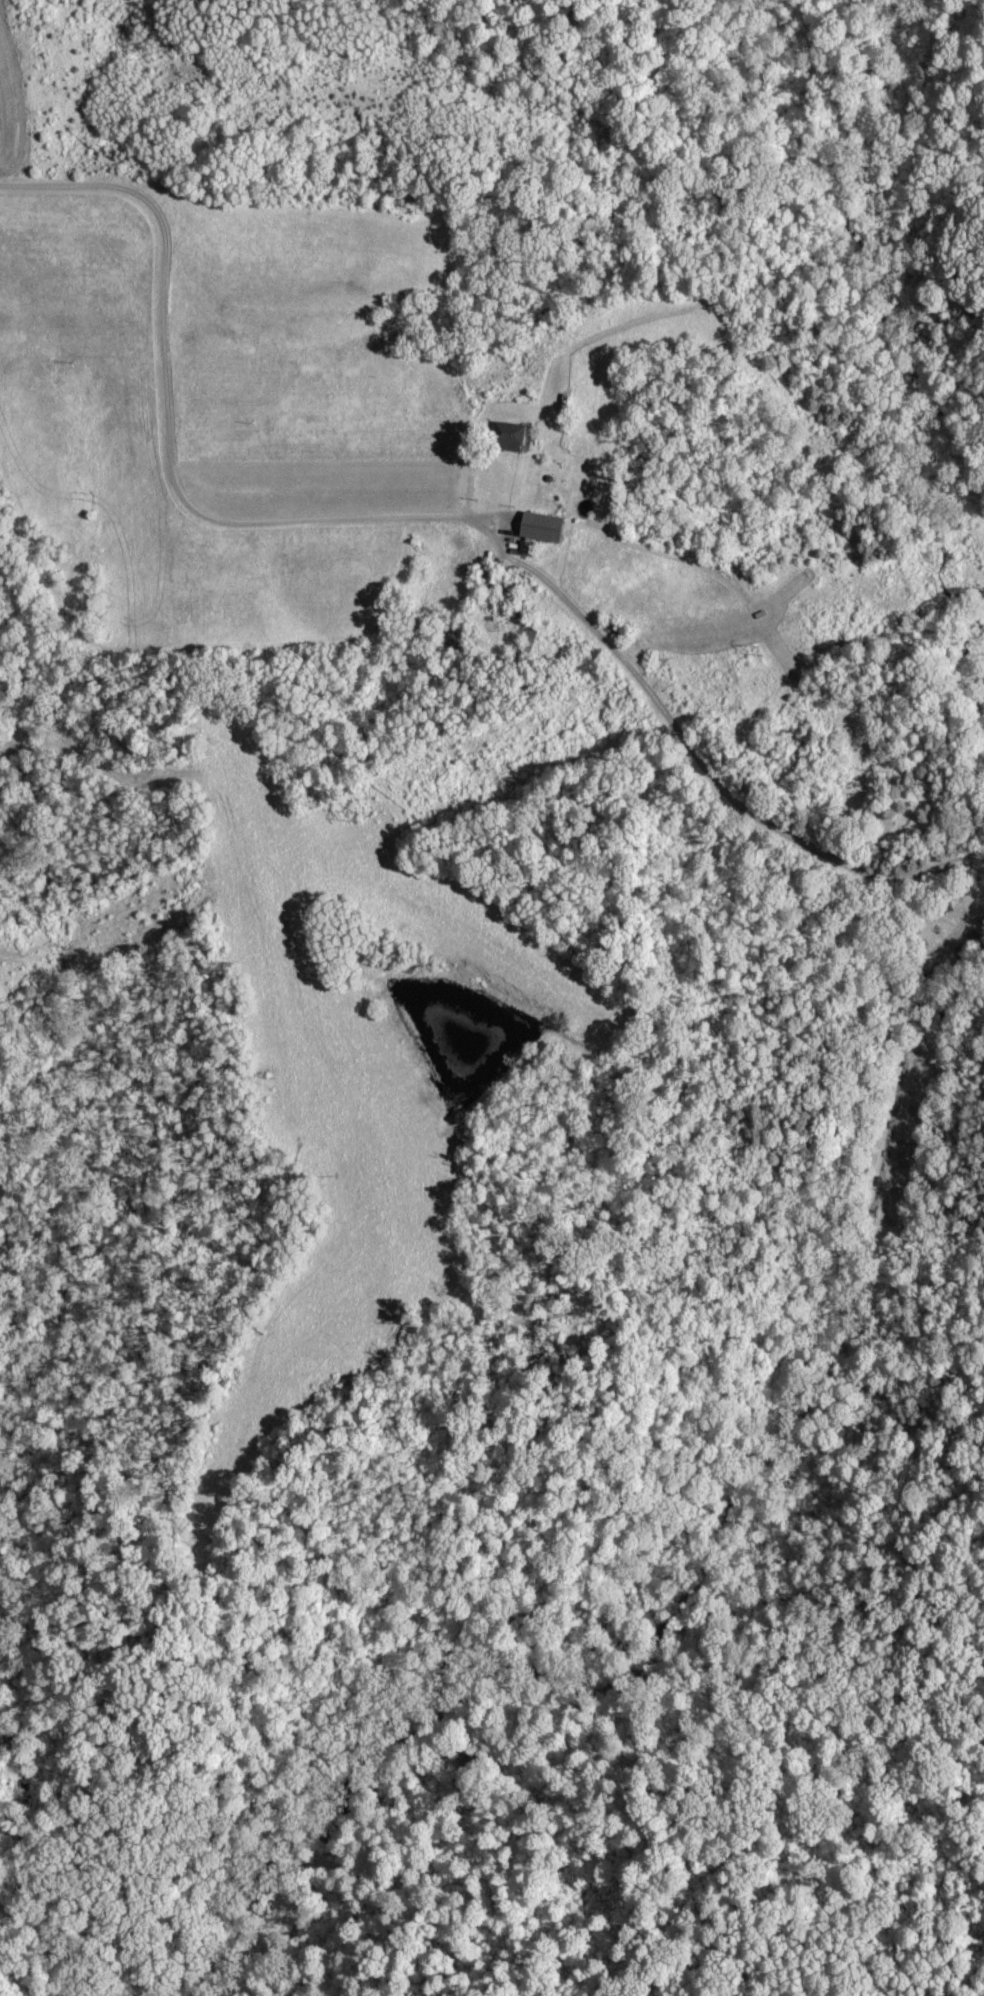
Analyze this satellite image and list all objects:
road: (167, 427)
building: (505, 438)
building: (537, 529)
power tower: (774, 656)
power tower: (371, 814)
power tower: (1, 975)

